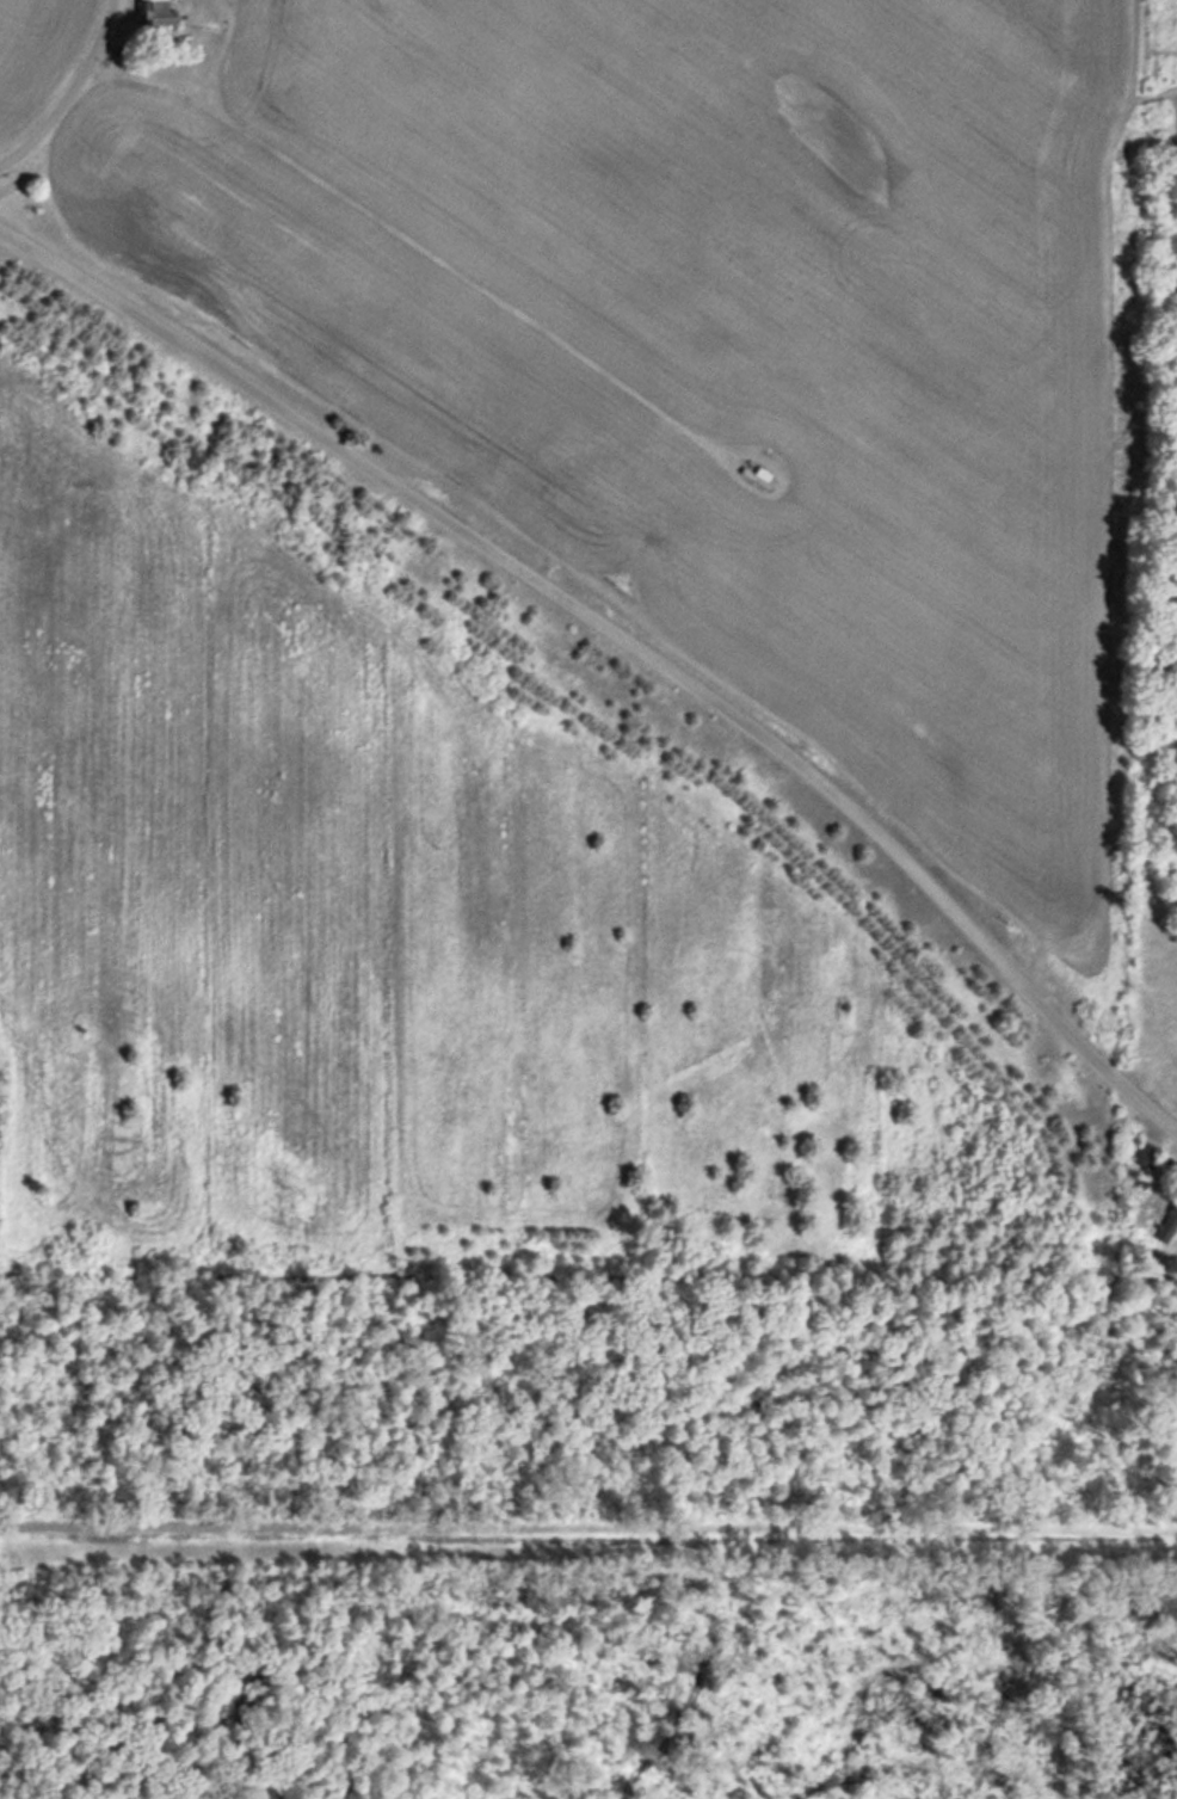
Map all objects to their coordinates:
building: (154, 12)
road: (73, 88)
road: (622, 635)
building: (1140, 1151)
building: (1164, 1218)

